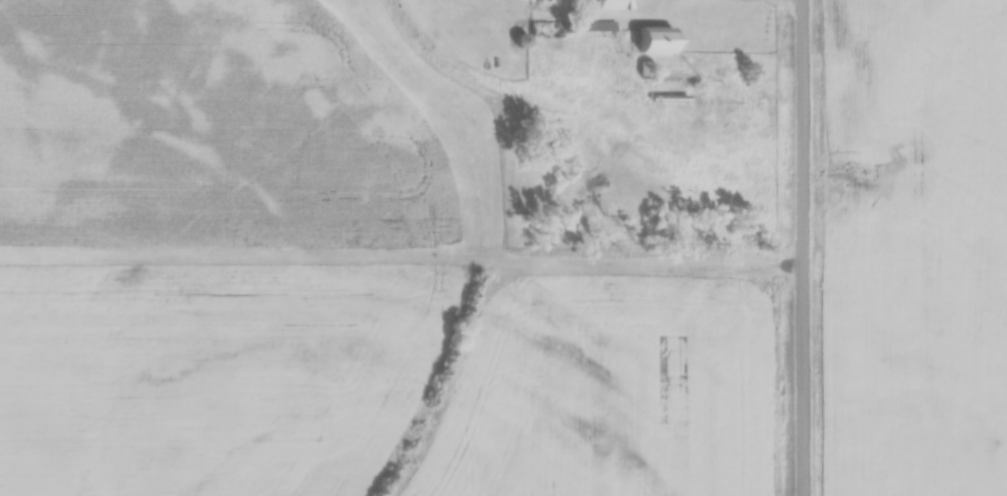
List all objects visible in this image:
building: (611, 5)
building: (595, 27)
building: (547, 30)
building: (656, 41)
road: (804, 248)

